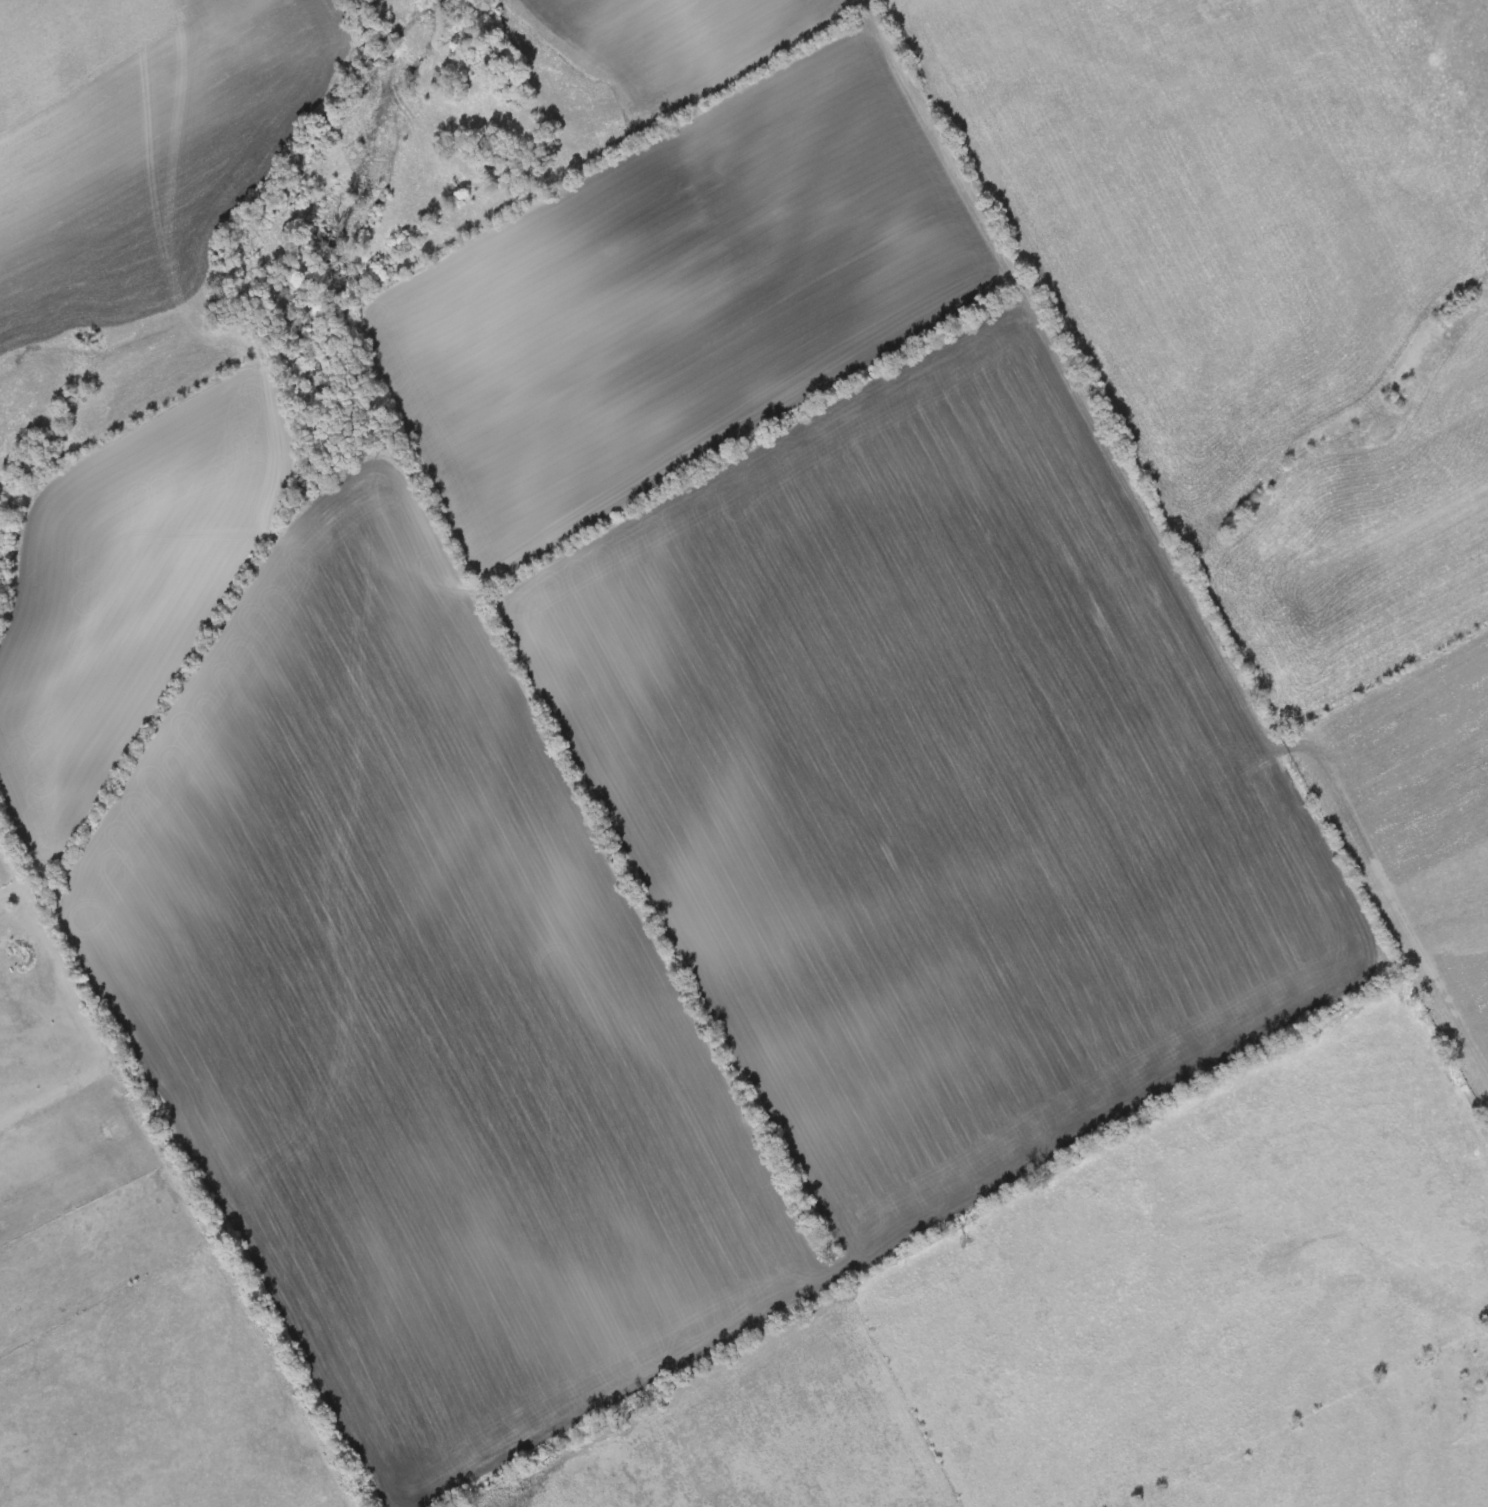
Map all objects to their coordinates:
building: (489, 163)

